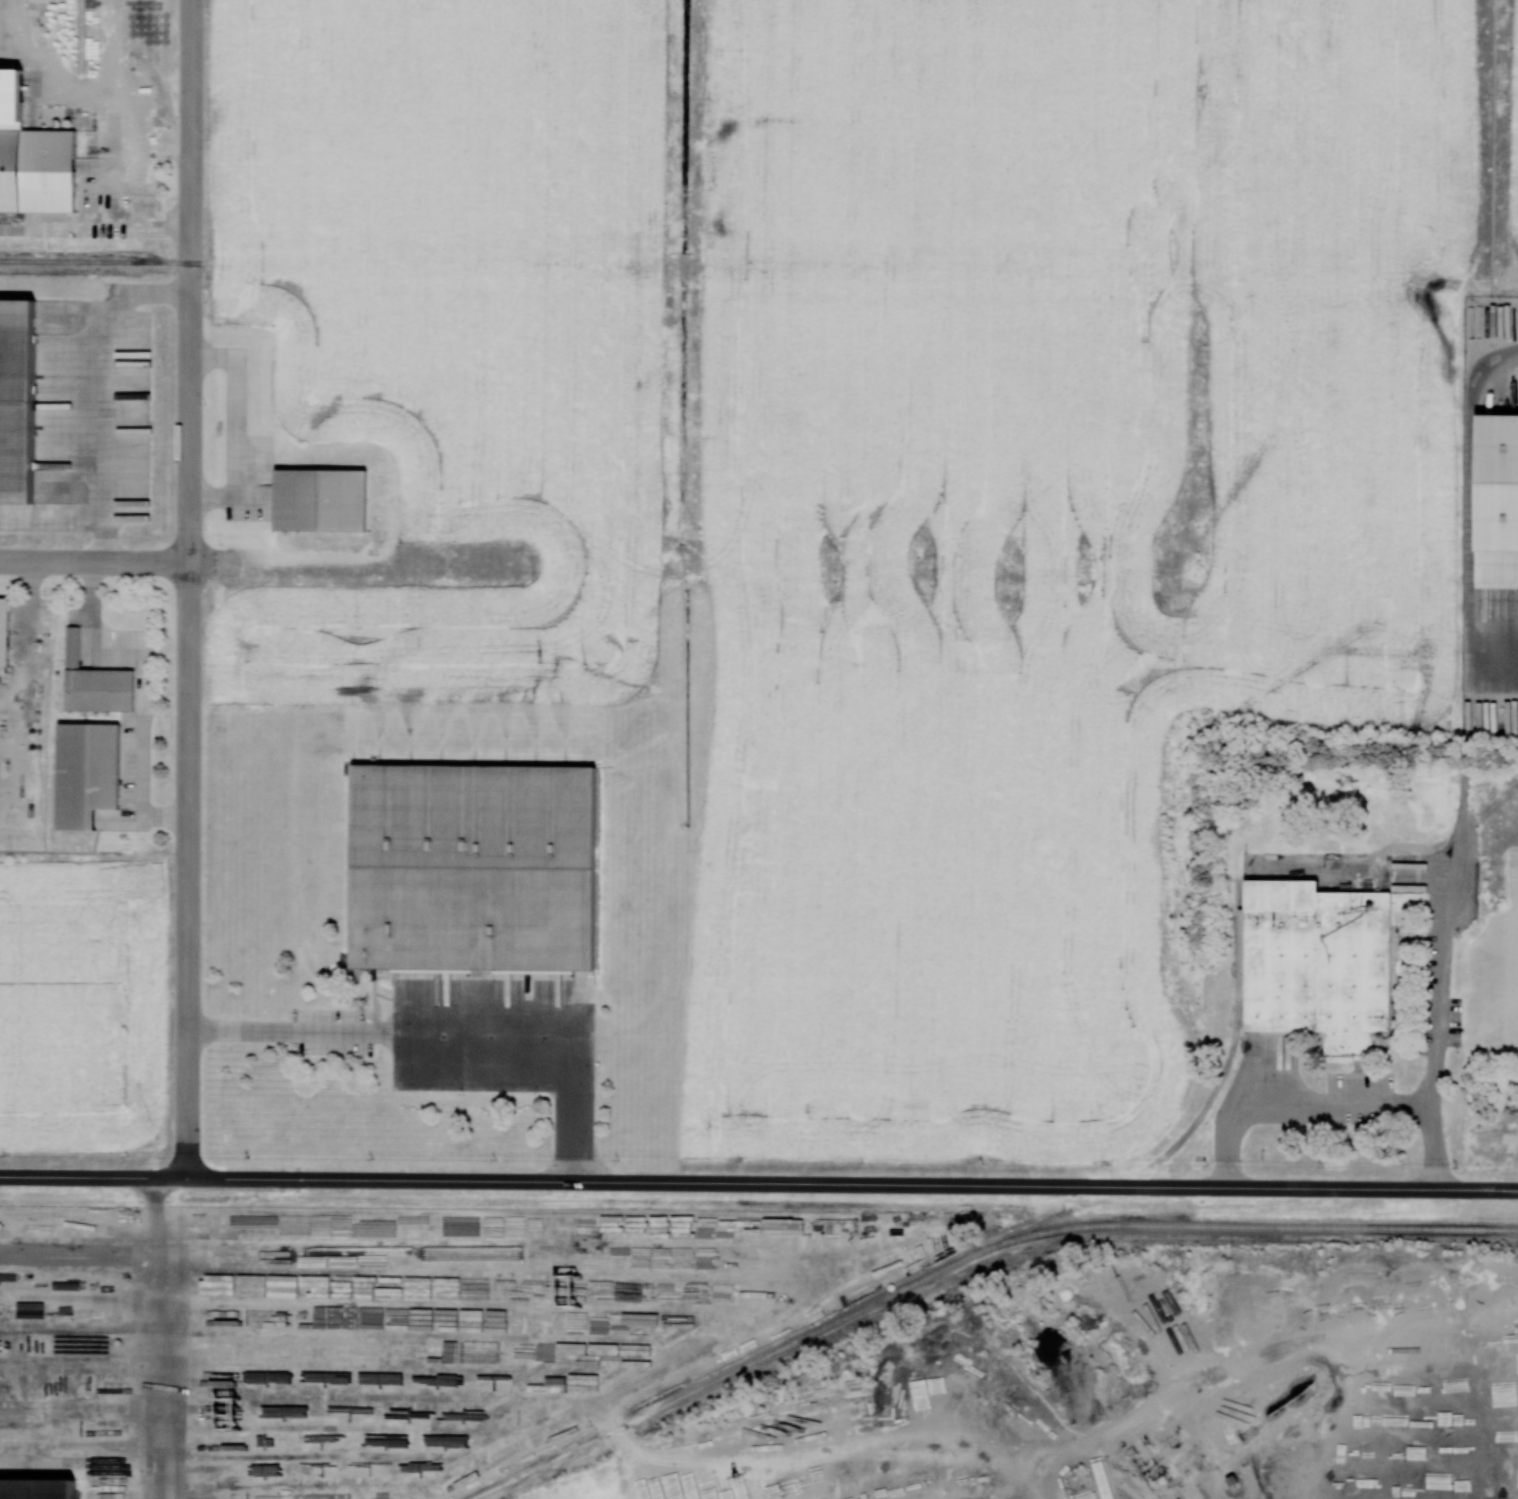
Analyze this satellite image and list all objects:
building: (11, 171)
road: (95, 222)
railway: (101, 259)
building: (14, 391)
road: (107, 424)
building: (321, 493)
building: (1497, 502)
road: (1470, 505)
road: (106, 540)
road: (108, 562)
road: (189, 589)
building: (4, 631)
building: (94, 683)
building: (86, 774)
building: (479, 870)
building: (1315, 963)
road: (1437, 989)
railway: (1236, 1021)
road: (451, 1042)
road: (1330, 1104)
road: (759, 1183)
railway: (968, 1259)
road: (157, 1338)
road: (1374, 1361)
building: (39, 1489)

